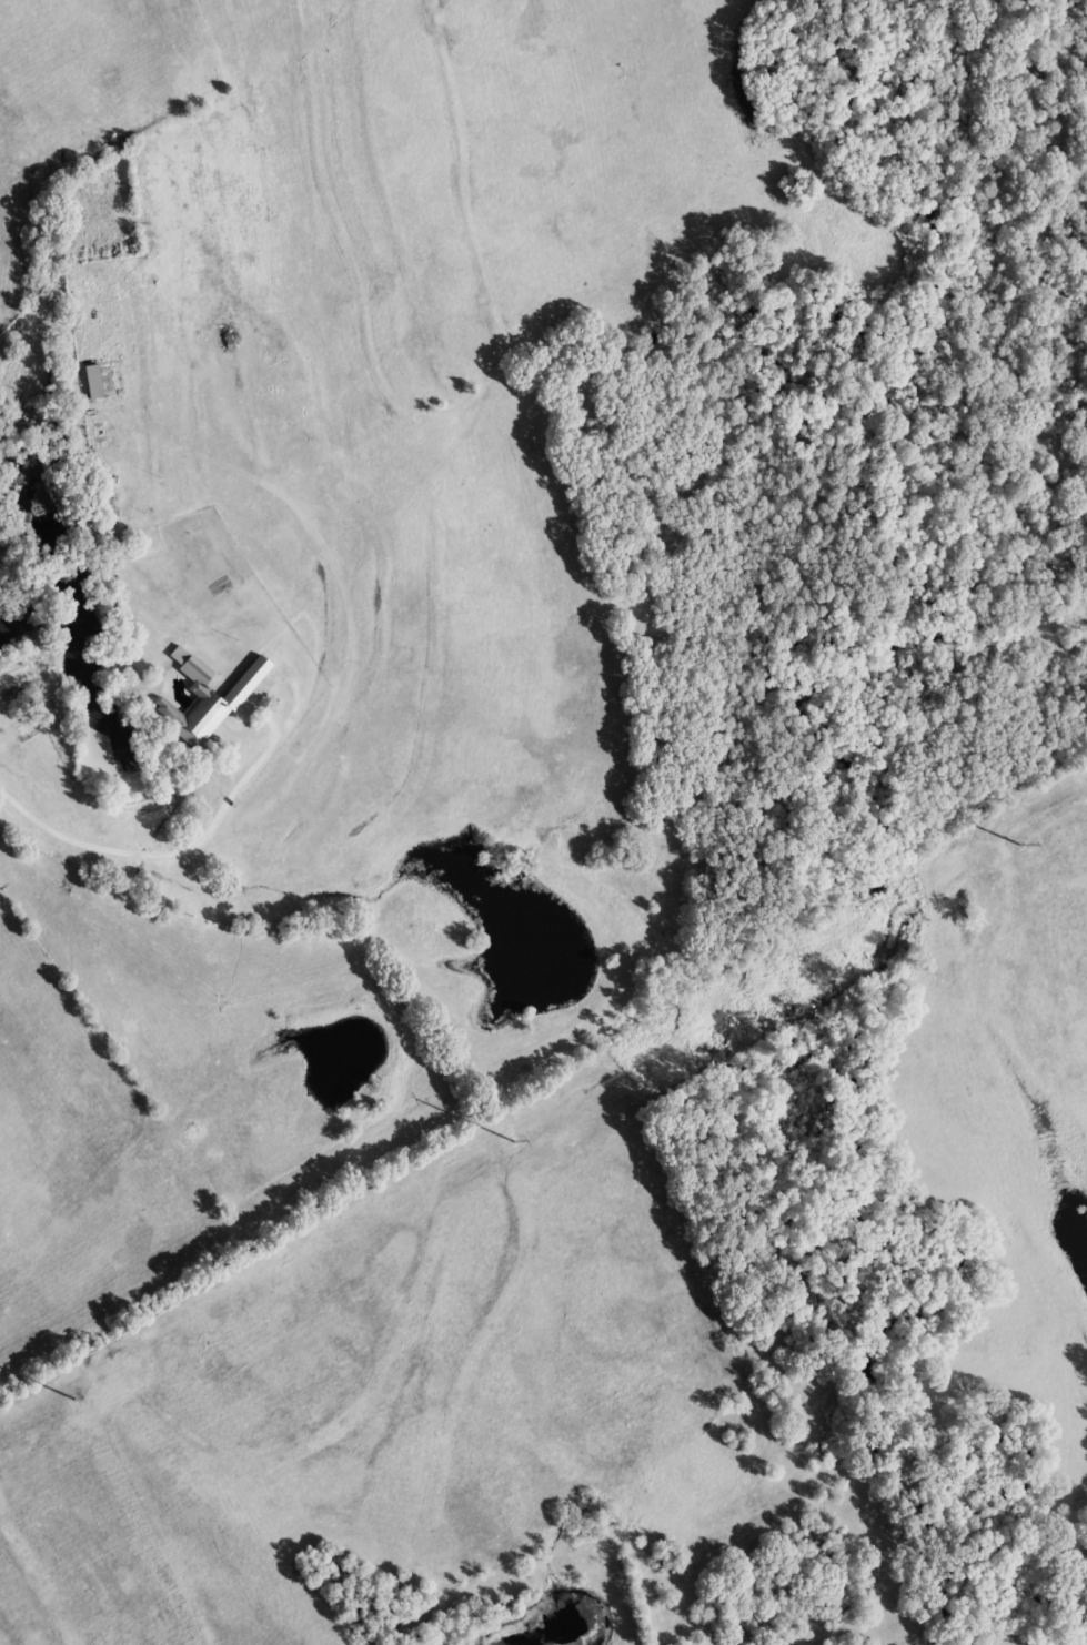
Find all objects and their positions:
building: (91, 381)
building: (192, 705)
building: (19, 706)
road: (260, 744)
power tower: (1019, 844)
power tower: (514, 1141)
power tower: (74, 1397)

